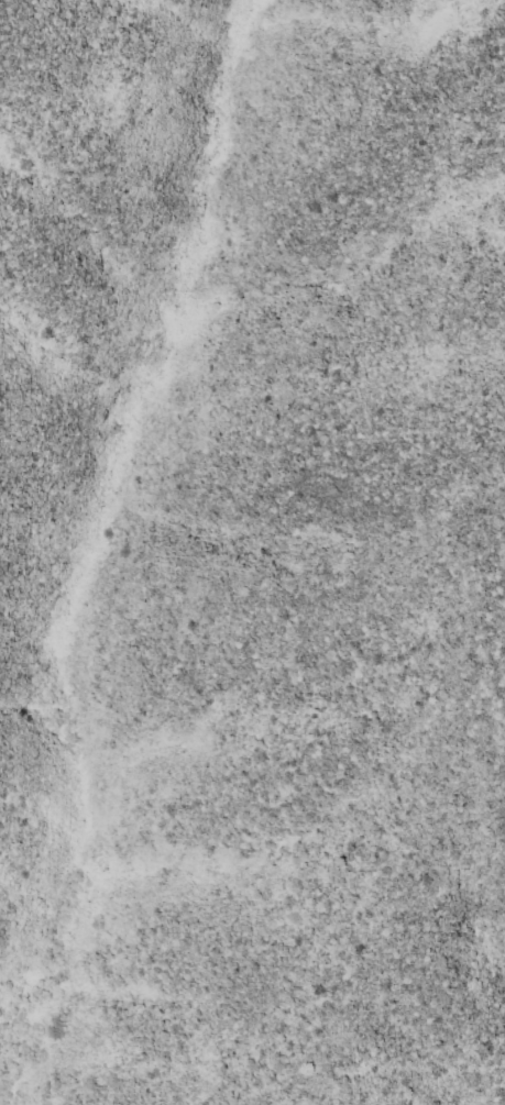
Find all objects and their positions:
park: (263, 206)

